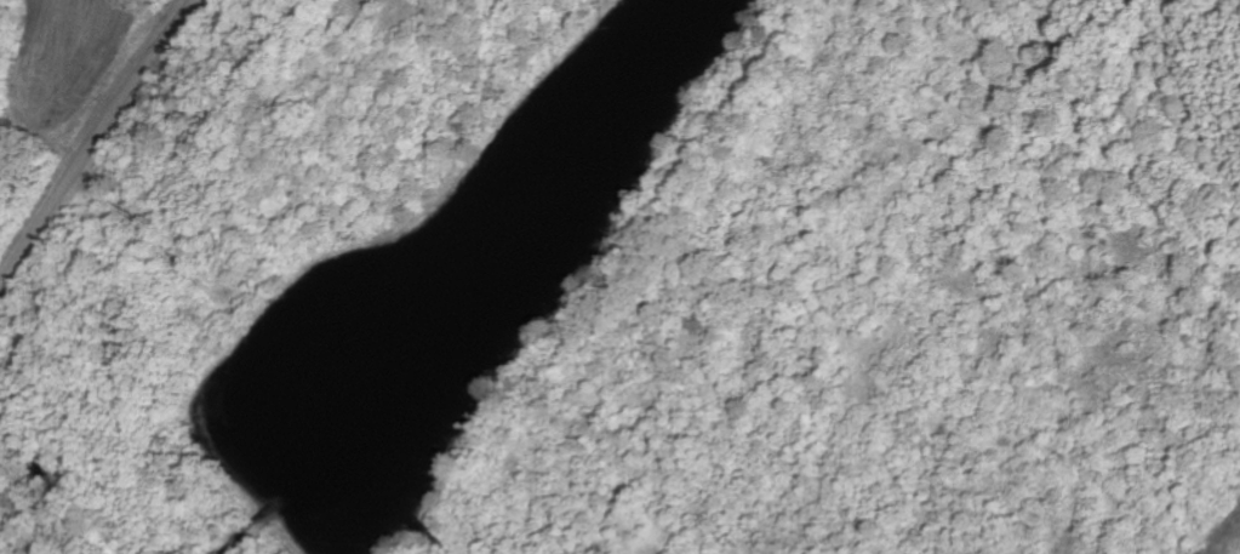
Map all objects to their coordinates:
road: (97, 144)

